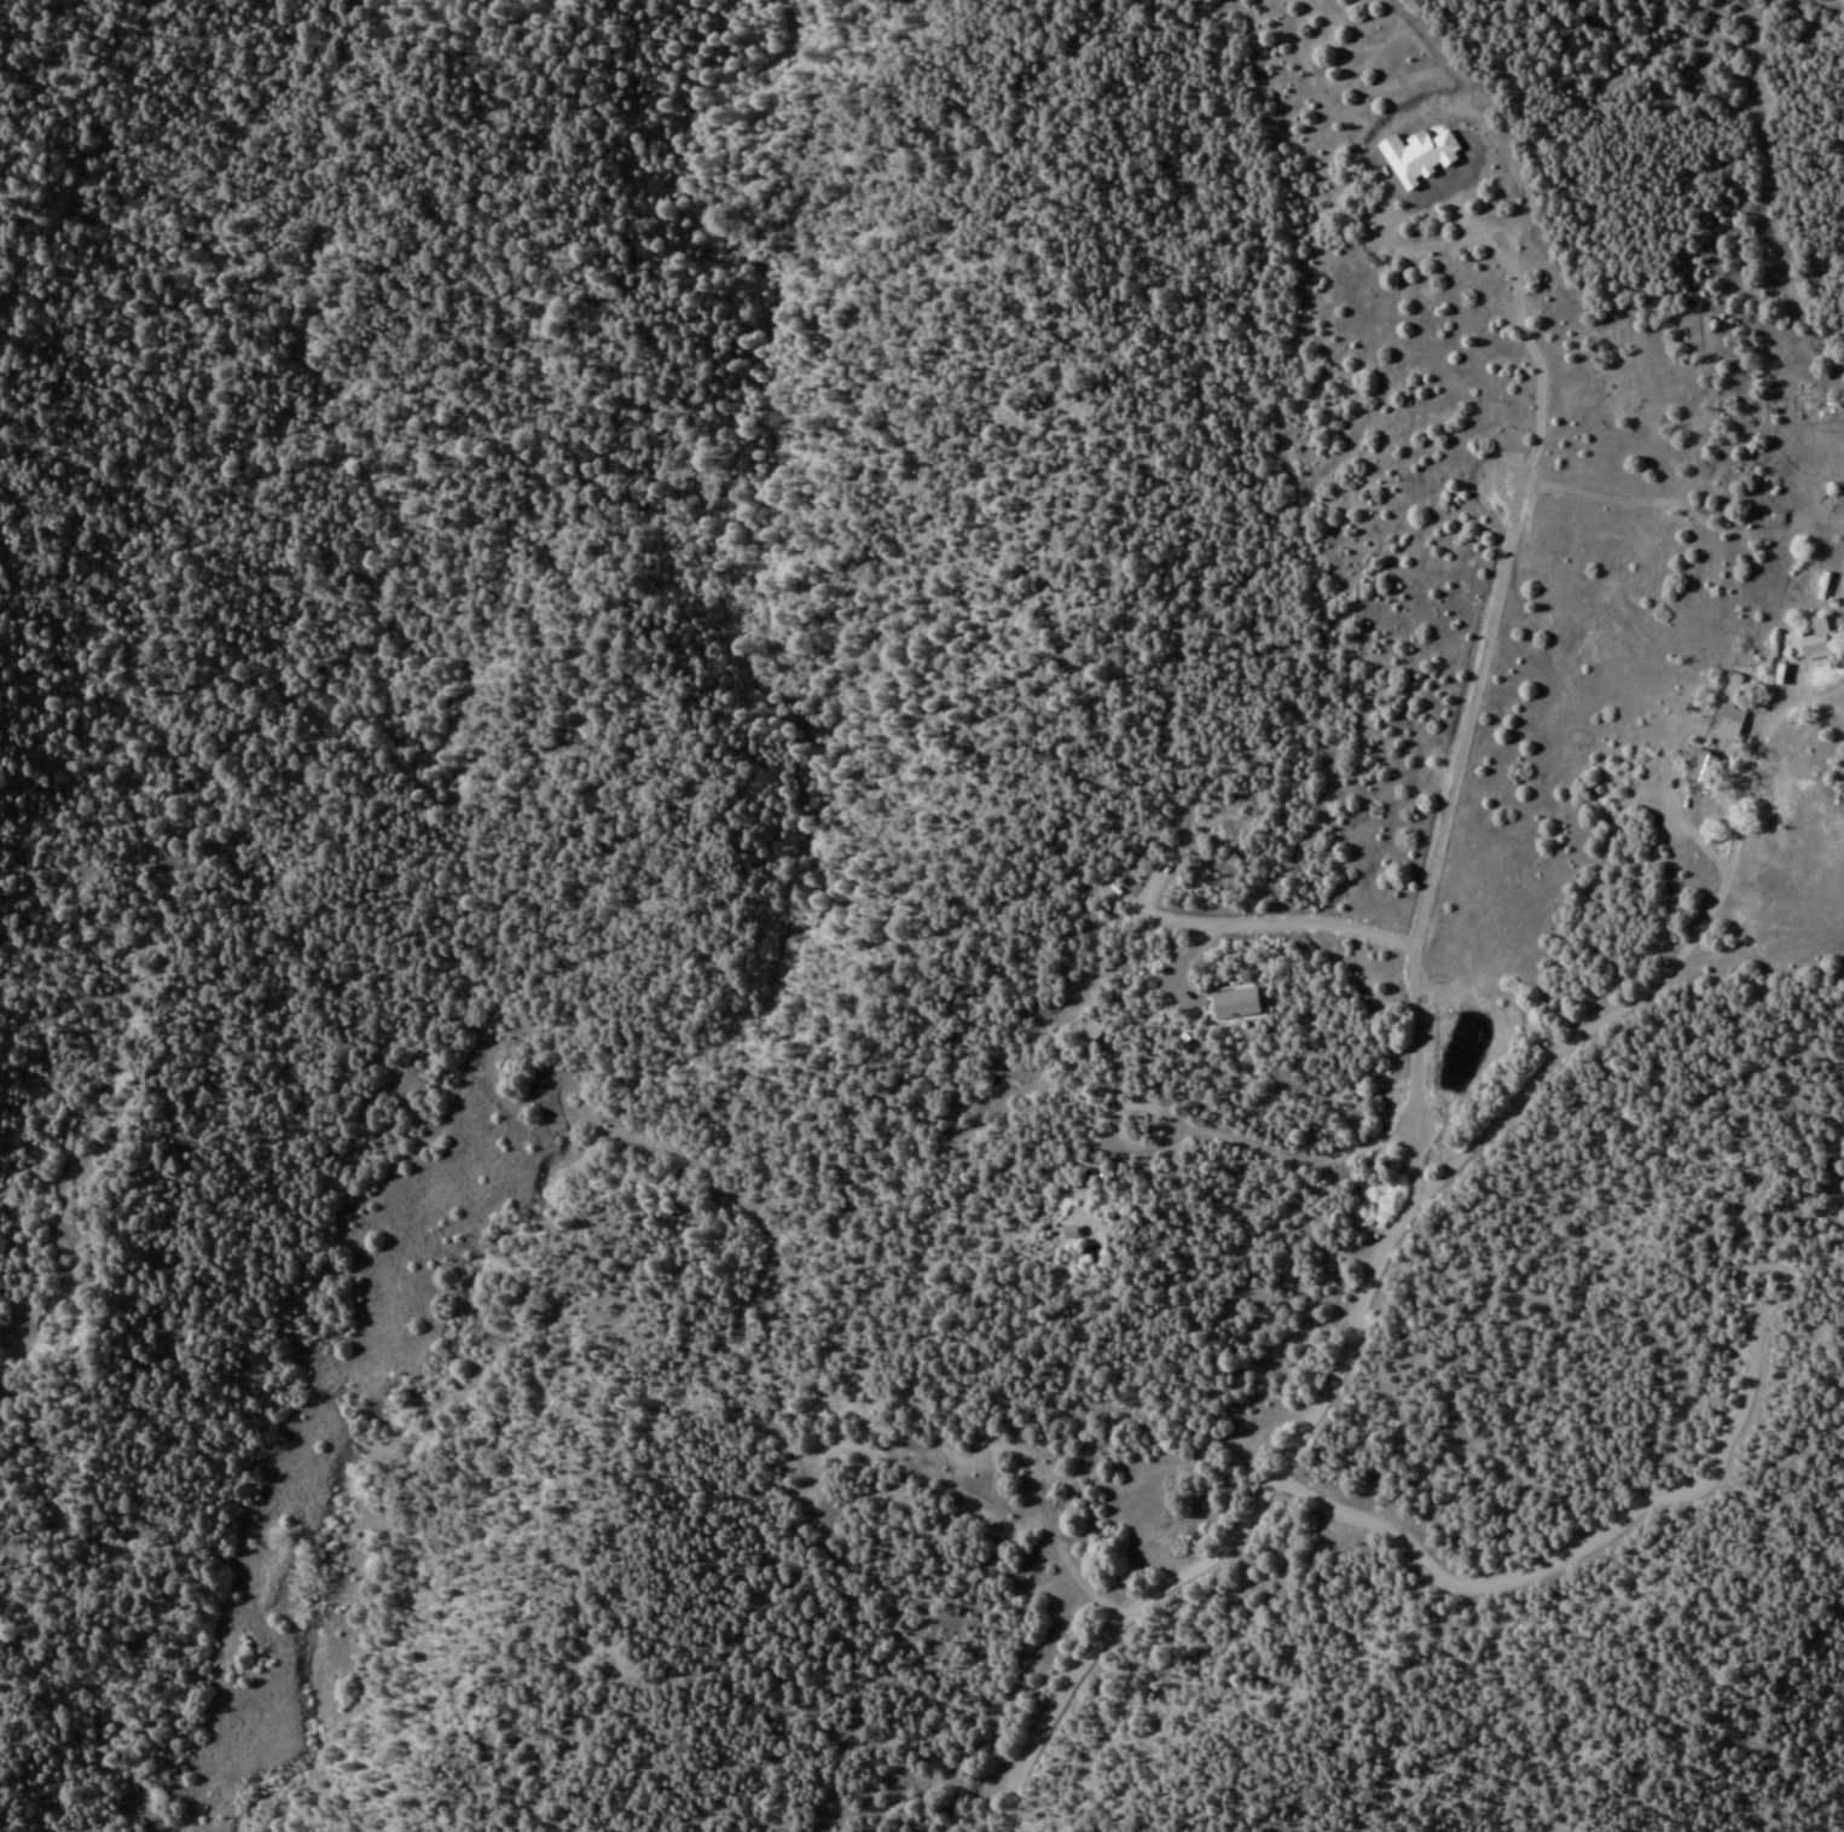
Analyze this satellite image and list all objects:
road: (1425, 595)
building: (1811, 640)
building: (1729, 688)
building: (1723, 727)
building: (1700, 767)
road: (1411, 1195)

